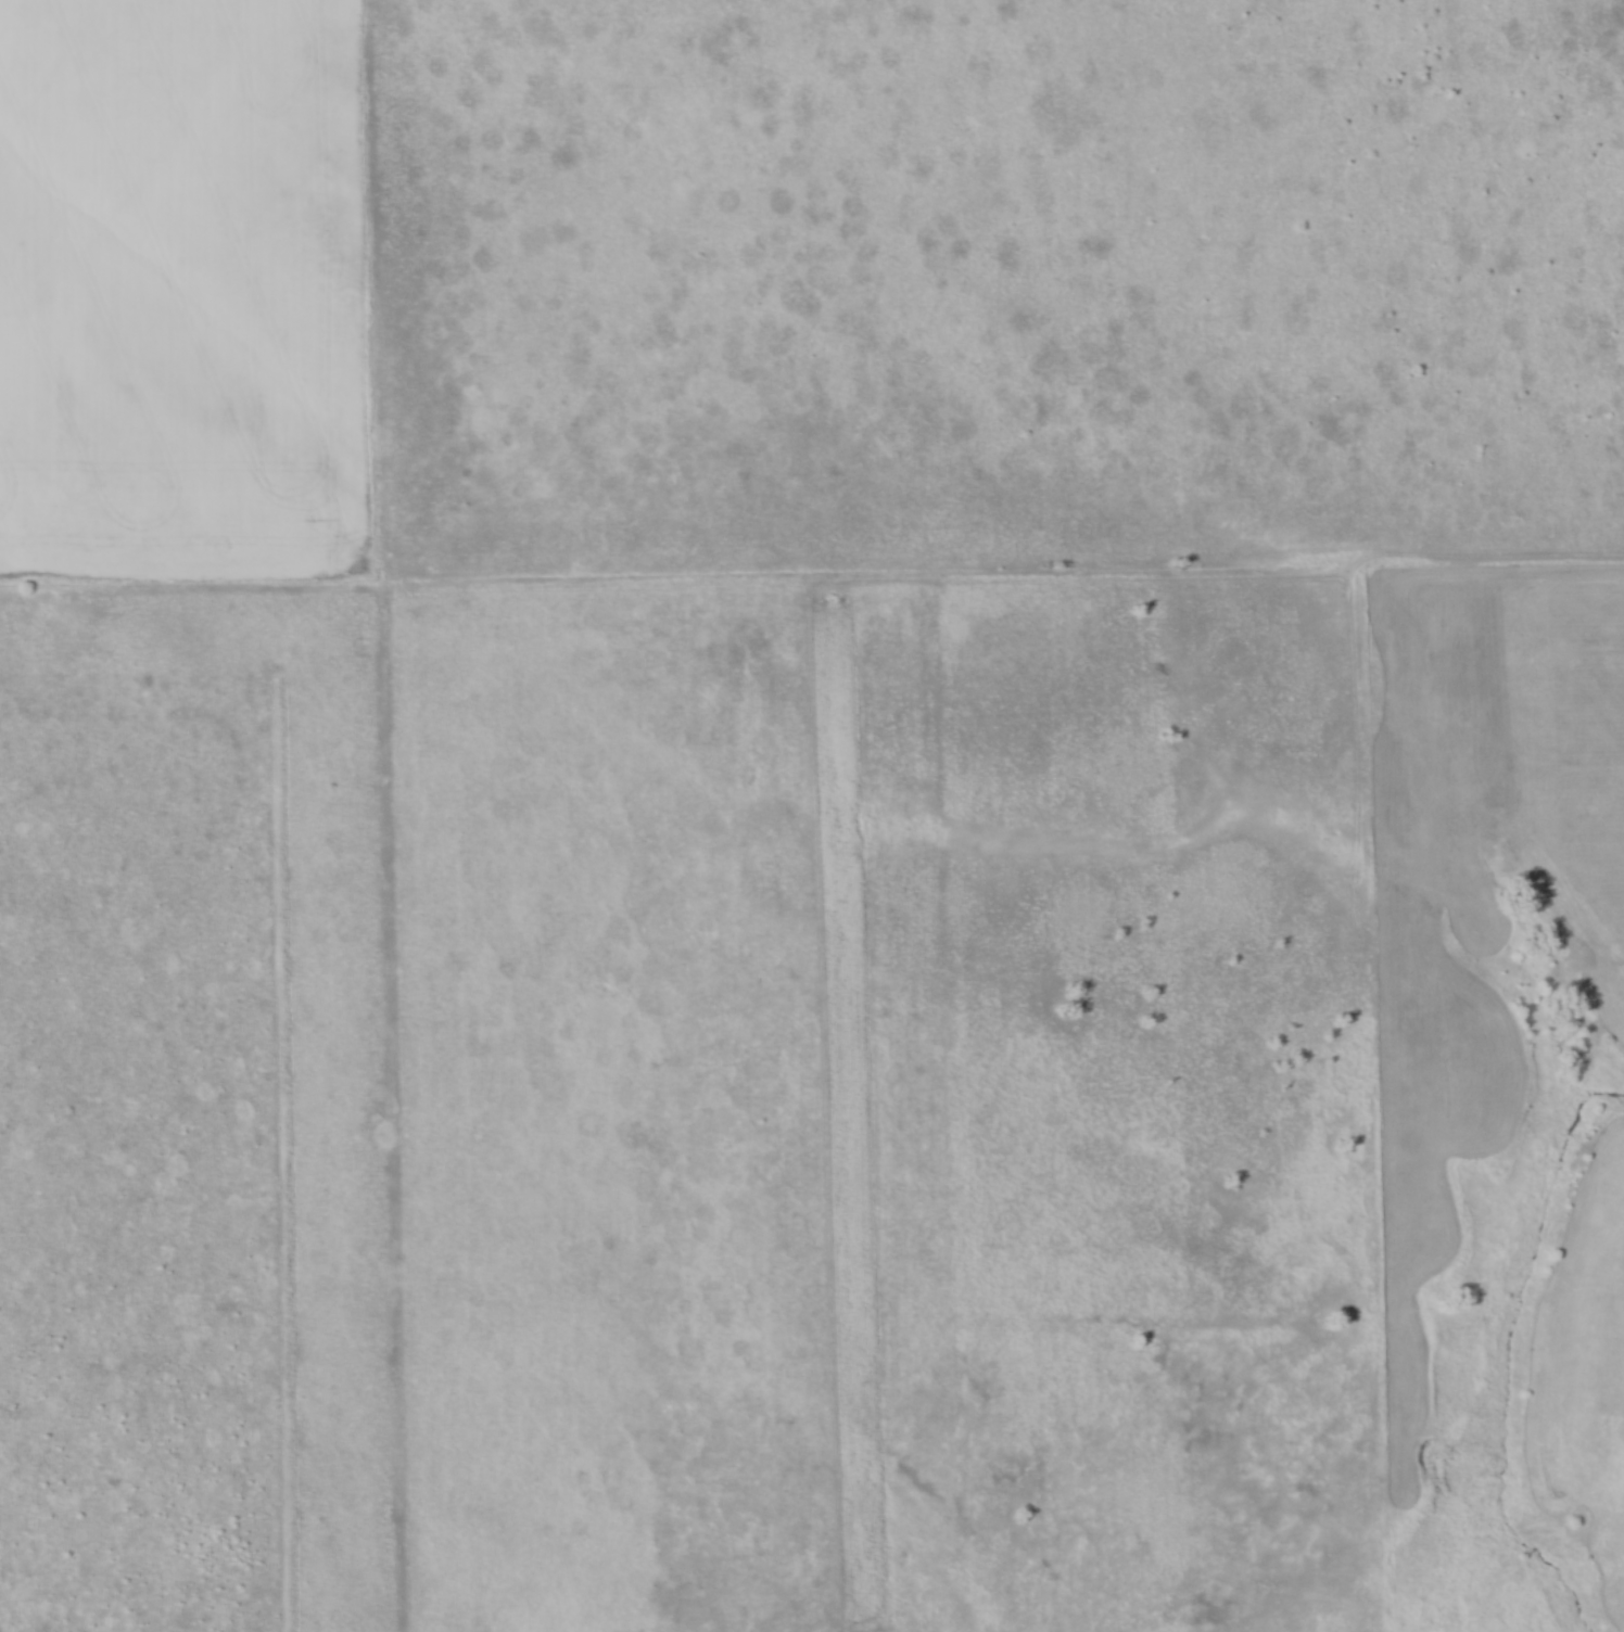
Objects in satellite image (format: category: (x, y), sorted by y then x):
river: (1509, 1359)

